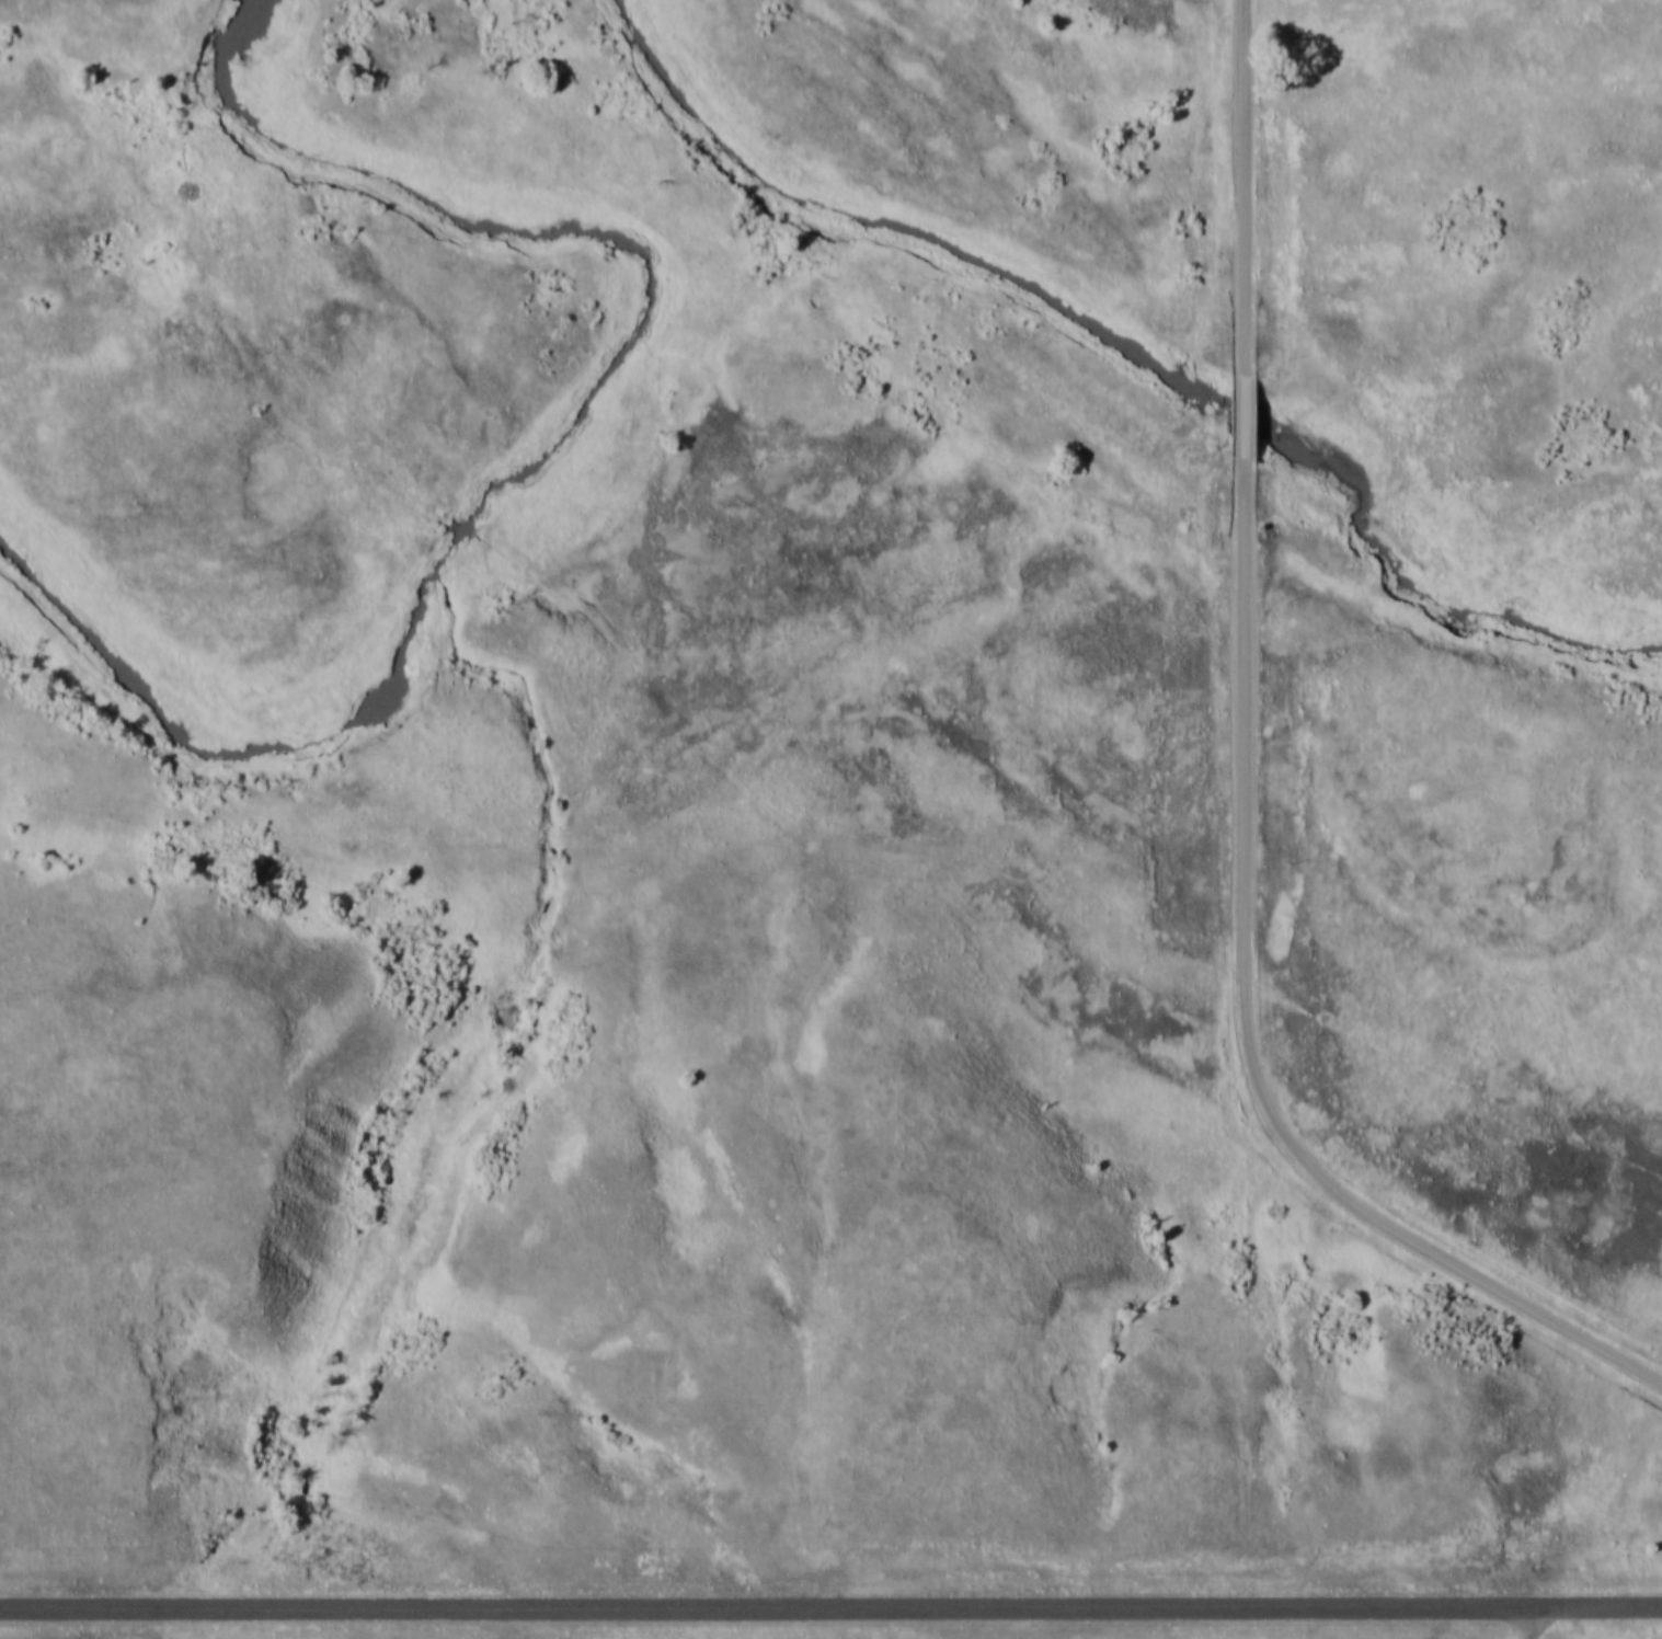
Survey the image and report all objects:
road: (1245, 188)
road: (1247, 419)
road: (1247, 1027)
road: (830, 1608)
road: (1545, 1625)

